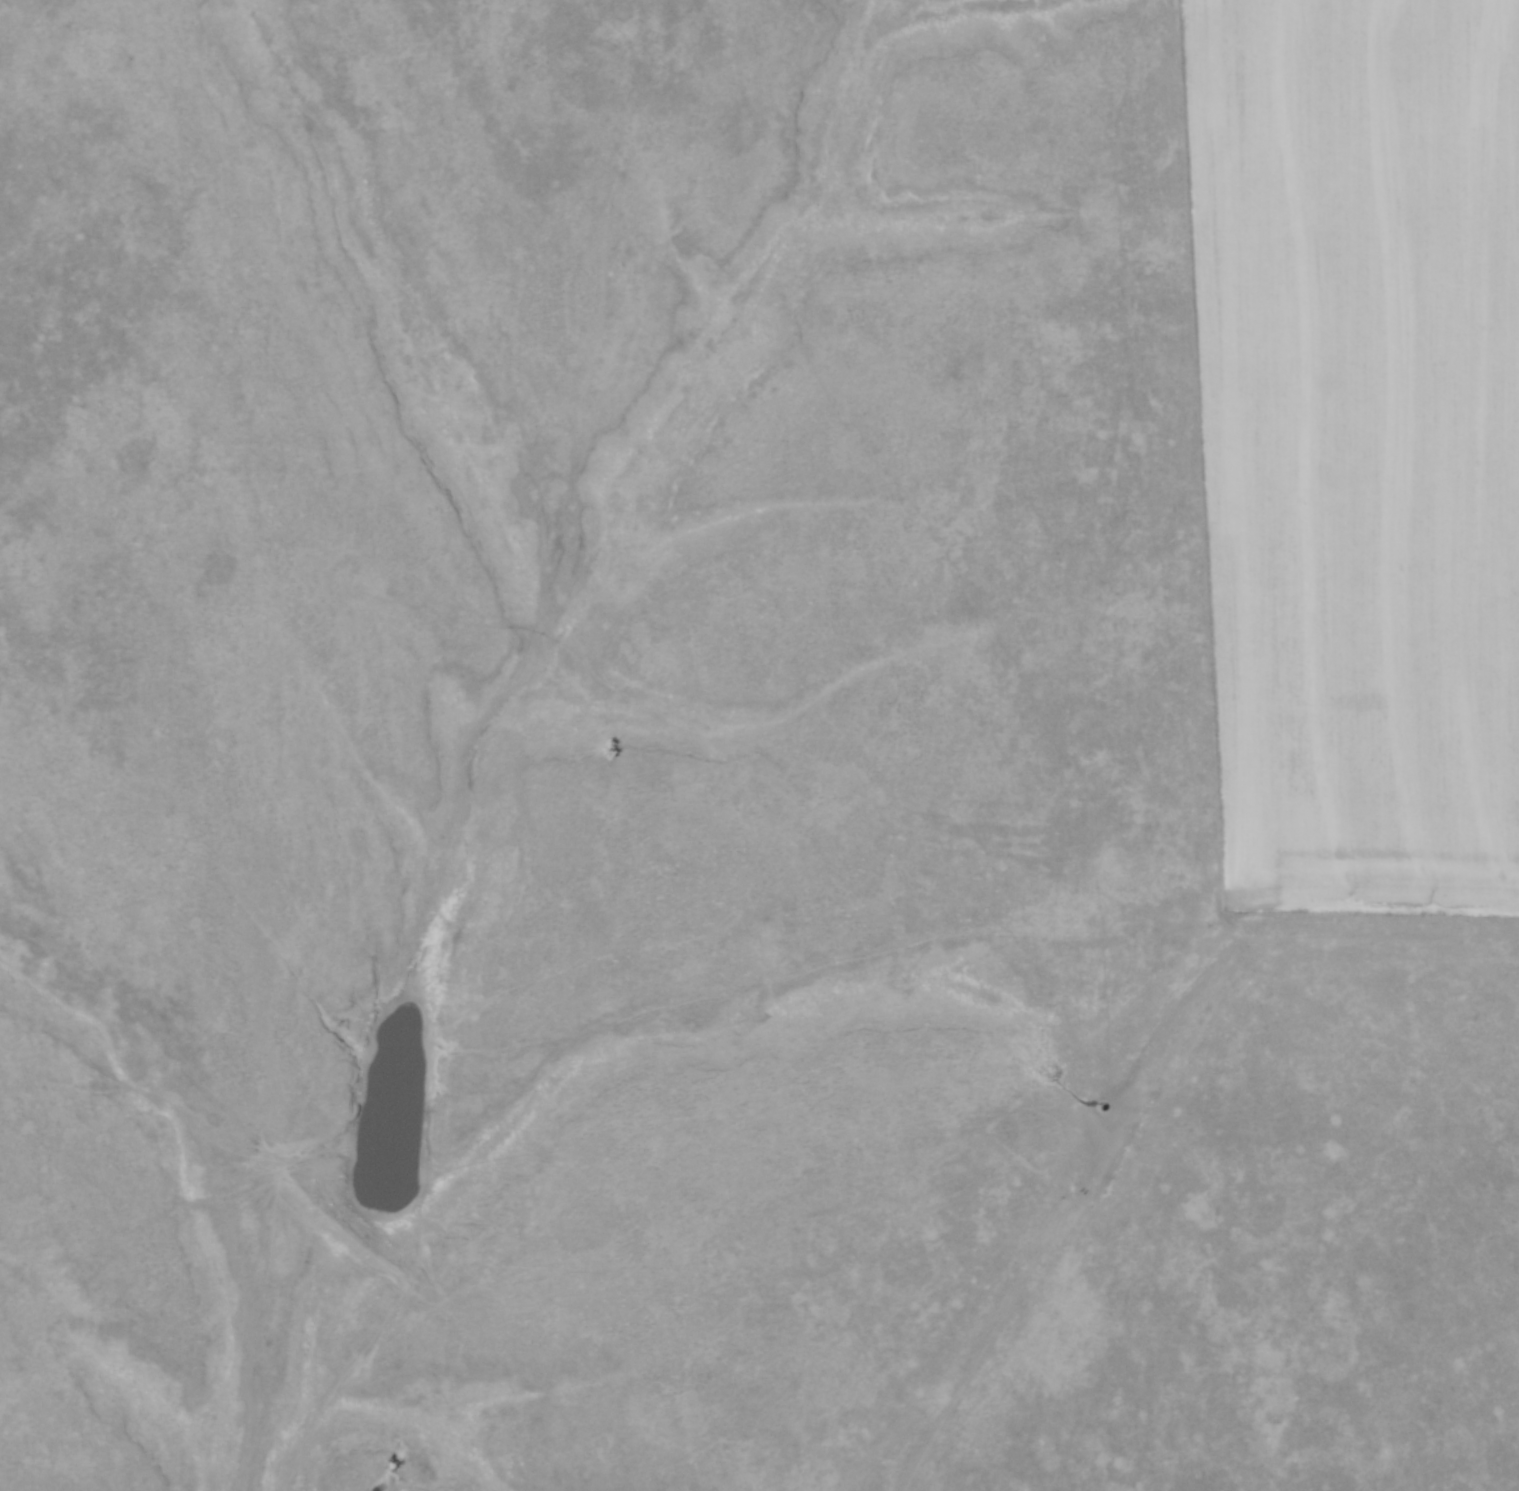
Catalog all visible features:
crop: (1357, 450)

